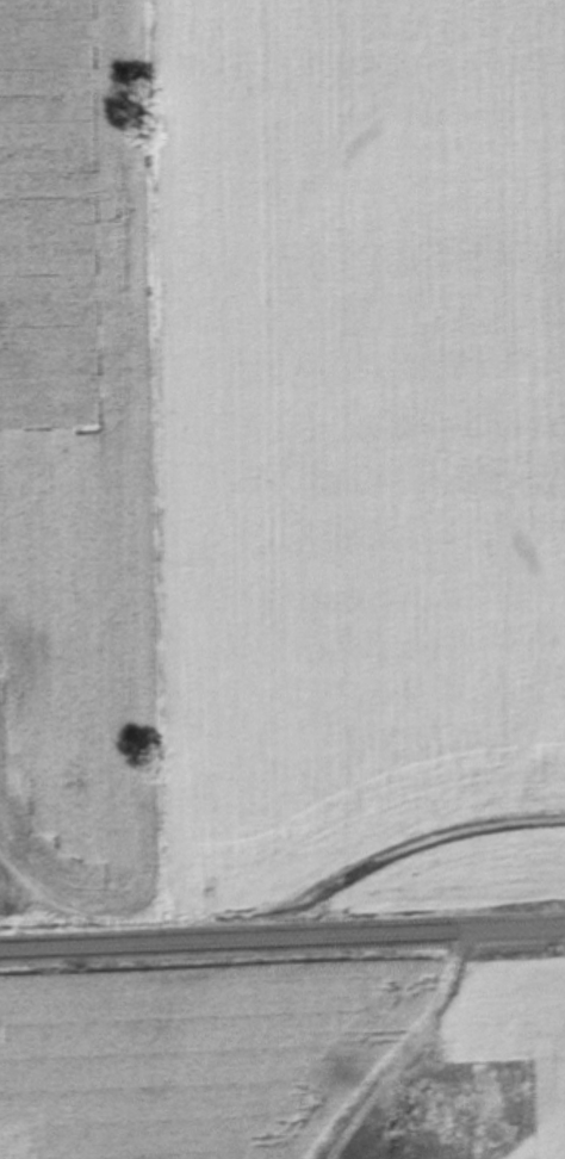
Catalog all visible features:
road: (281, 938)

